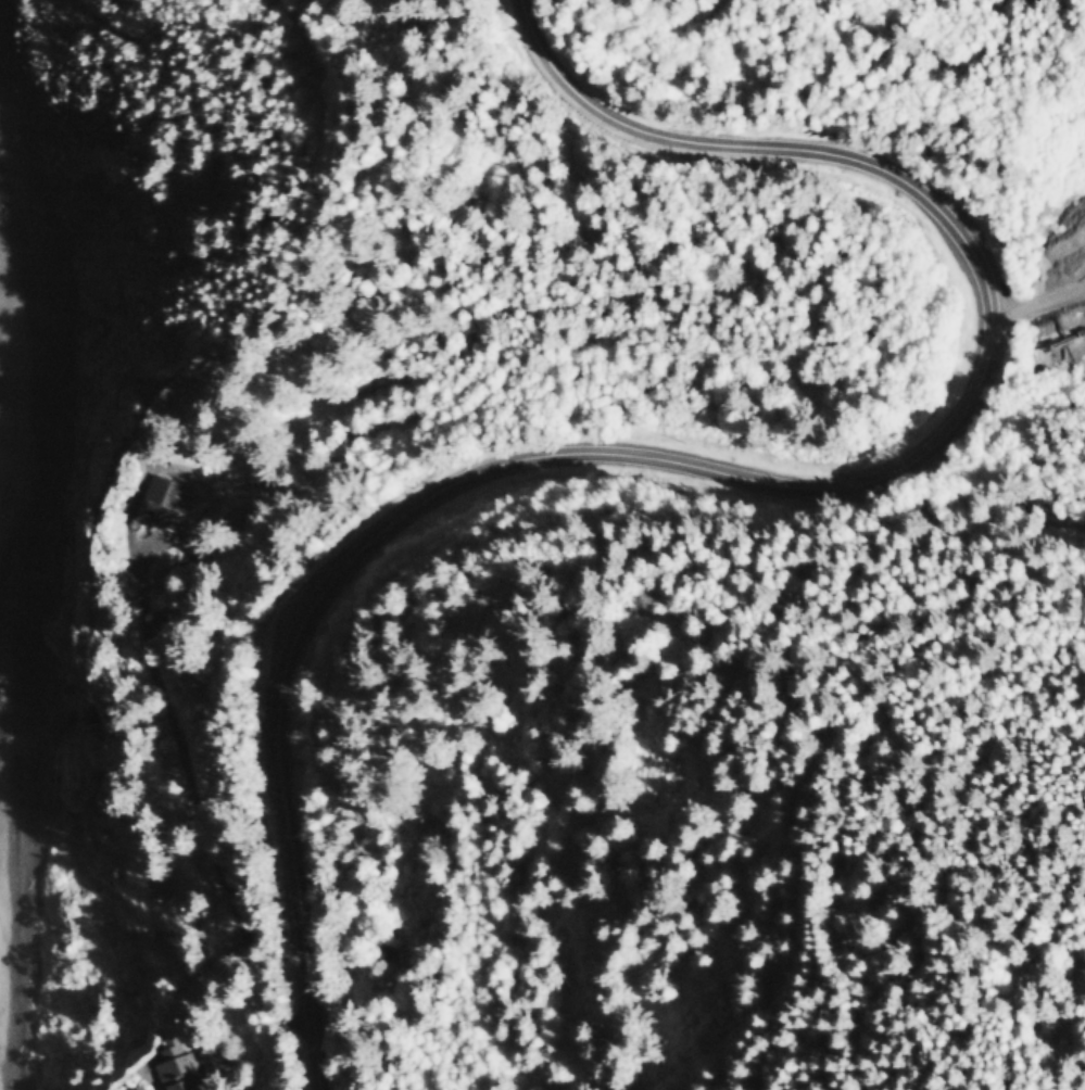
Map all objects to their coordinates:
quarry: (1058, 251)
road: (1038, 301)
road: (744, 469)
building: (174, 496)

